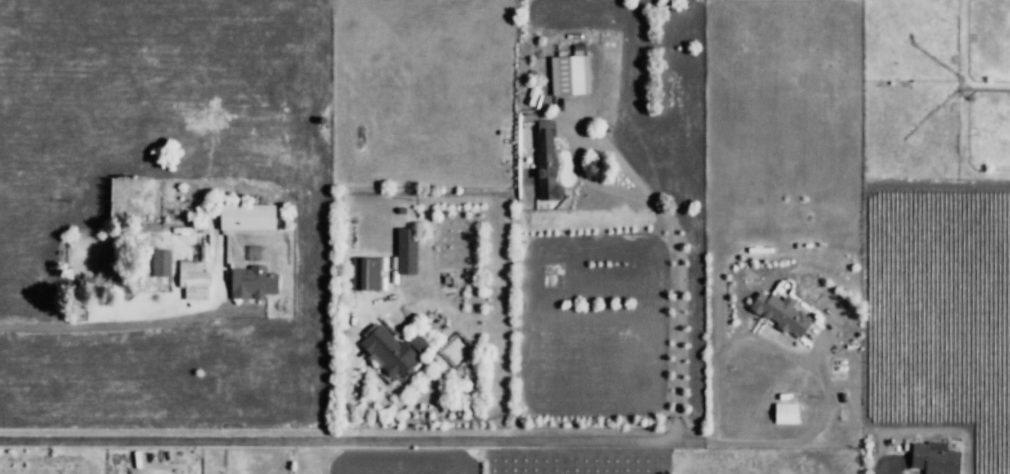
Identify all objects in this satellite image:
building: (568, 75)
building: (546, 162)
crop: (781, 205)
road: (658, 214)
crop: (162, 215)
building: (244, 218)
building: (156, 238)
building: (405, 251)
building: (159, 263)
building: (108, 267)
building: (366, 273)
building: (255, 284)
building: (194, 288)
building: (782, 314)
road: (139, 320)
building: (387, 349)
building: (457, 352)
road: (799, 363)
building: (785, 413)
road: (357, 445)
building: (935, 455)

